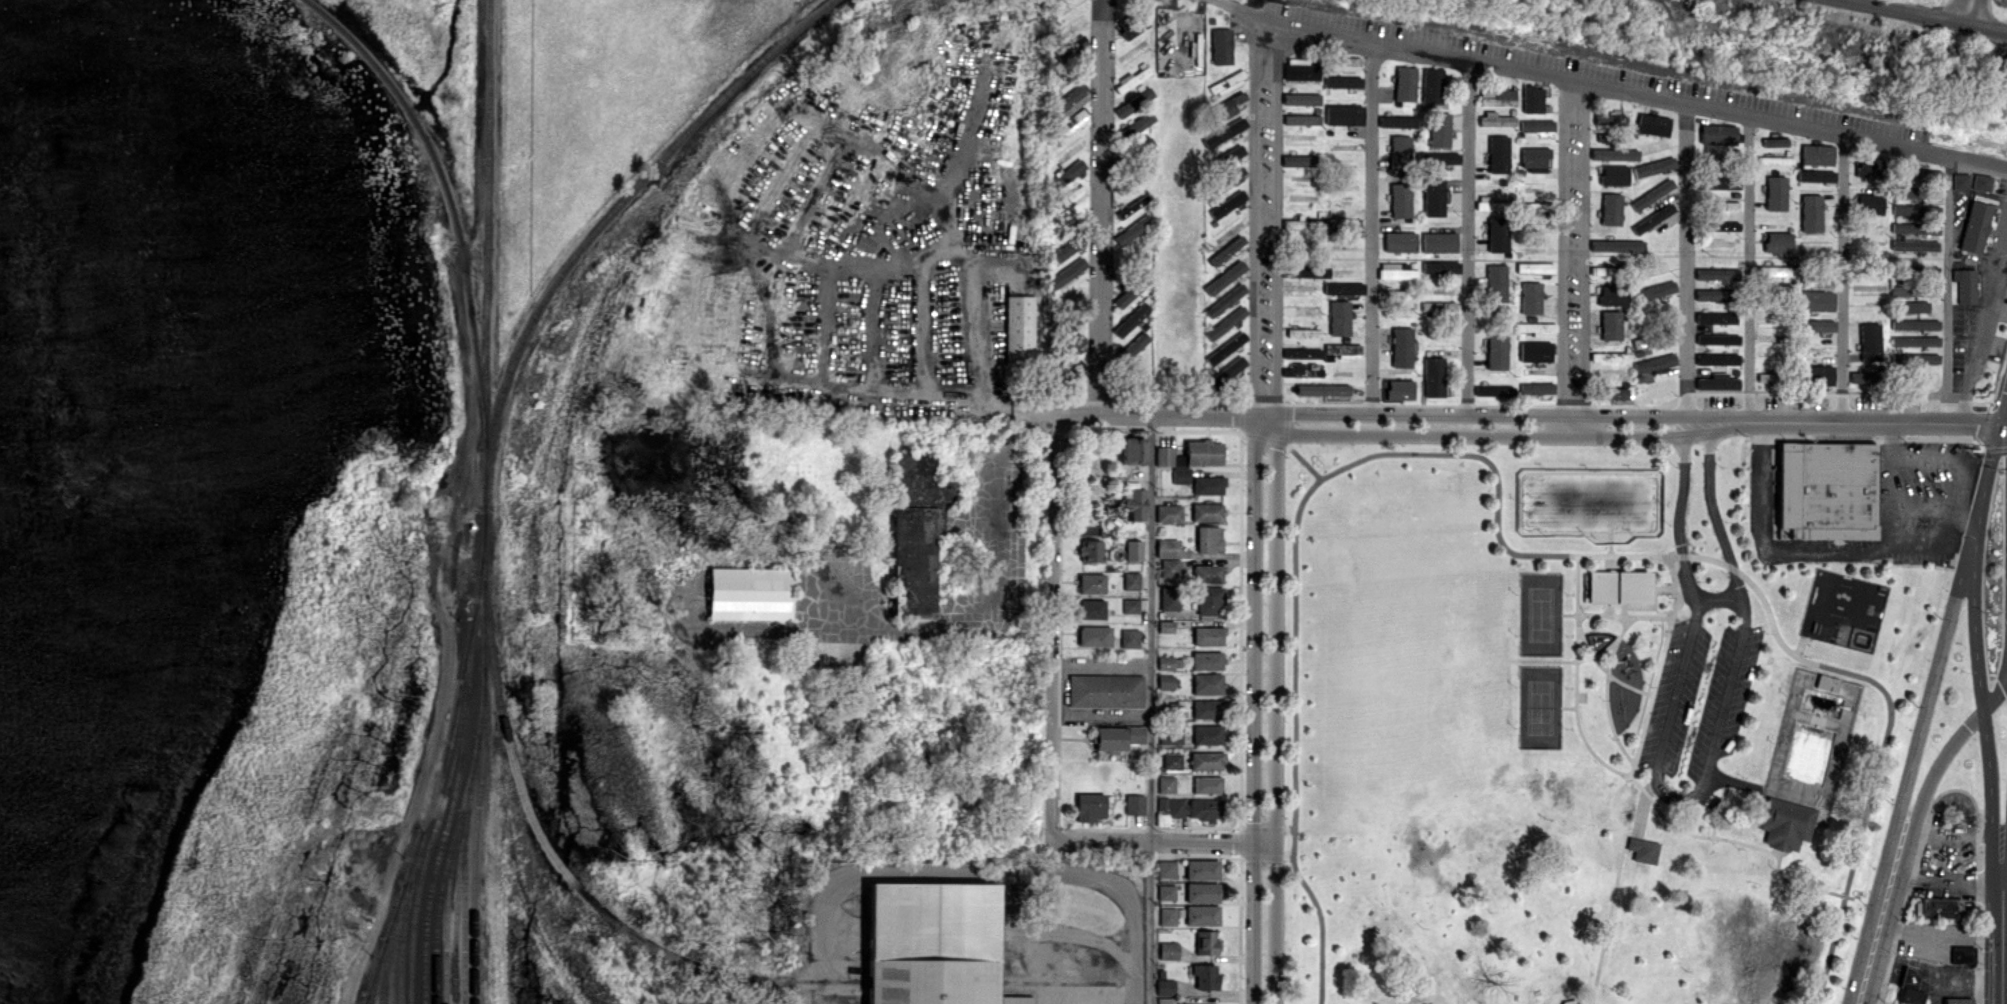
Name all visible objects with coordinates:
road: (1962, 9)
road: (1929, 13)
building: (1133, 27)
building: (1221, 46)
building: (1071, 47)
building: (1344, 63)
building: (1301, 72)
building: (1132, 78)
building: (1342, 82)
road: (1610, 82)
building: (1405, 83)
building: (1226, 84)
building: (1431, 85)
building: (1497, 97)
building: (1301, 98)
building: (1532, 99)
building: (1070, 101)
building: (1134, 102)
building: (1229, 105)
building: (1343, 114)
building: (1301, 119)
building: (1495, 119)
building: (1609, 119)
building: (1397, 121)
building: (1072, 122)
building: (1652, 124)
building: (1536, 125)
building: (1439, 129)
building: (1224, 132)
building: (1717, 134)
building: (1774, 141)
building: (1232, 153)
building: (1399, 153)
building: (1498, 154)
building: (1614, 154)
building: (1816, 154)
building: (1437, 158)
building: (1534, 158)
building: (1299, 160)
building: (1653, 166)
building: (1866, 168)
building: (1069, 172)
building: (1614, 175)
building: (1815, 175)
building: (1231, 178)
building: (1960, 181)
building: (1980, 182)
building: (1720, 183)
building: (1775, 193)
building: (1652, 194)
building: (1433, 197)
railway: (449, 199)
building: (1068, 199)
building: (1400, 200)
building: (1488, 203)
building: (1227, 204)
building: (1869, 204)
road: (1102, 207)
building: (1530, 207)
building: (1611, 209)
building: (1914, 210)
building: (1811, 212)
building: (1652, 218)
railway: (607, 220)
road: (1266, 220)
building: (1293, 224)
building: (1722, 225)
building: (1975, 227)
building: (1914, 228)
building: (1132, 230)
road: (1369, 232)
building: (1497, 234)
building: (1400, 241)
building: (1439, 241)
road: (1468, 241)
building: (863, 242)
building: (1778, 242)
building: (1617, 245)
building: (1914, 245)
building: (1068, 248)
building: (1226, 250)
road: (1571, 250)
railway: (487, 252)
road: (1686, 262)
road: (908, 264)
building: (1440, 266)
building: (1534, 267)
road: (1749, 268)
building: (1603, 270)
building: (1775, 270)
building: (1306, 271)
building: (1396, 271)
building: (1067, 272)
building: (1714, 273)
building: (1224, 278)
road: (1842, 278)
building: (1496, 282)
building: (1965, 285)
building: (1343, 288)
road: (1947, 289)
building: (1131, 290)
building: (1654, 290)
building: (1900, 290)
building: (1394, 294)
building: (1609, 294)
building: (1709, 294)
building: (1530, 298)
building: (1225, 300)
building: (1815, 300)
building: (1438, 306)
building: (1912, 306)
building: (1766, 316)
building: (1715, 317)
building: (1339, 318)
building: (1131, 319)
building: (1225, 322)
road: (1987, 323)
building: (1914, 324)
building: (1610, 325)
building: (1816, 325)
road: (923, 326)
building: (1536, 328)
building: (1019, 330)
building: (1303, 332)
building: (1717, 339)
building: (1869, 341)
building: (1914, 341)
building: (1073, 344)
building: (1133, 345)
building: (1401, 347)
building: (1225, 348)
building: (1340, 351)
building: (1496, 351)
building: (1535, 351)
building: (1301, 353)
building: (1610, 356)
building: (1717, 358)
building: (1914, 359)
building: (1654, 363)
building: (1226, 372)
building: (1817, 374)
building: (1433, 376)
building: (1861, 376)
building: (1717, 381)
building: (1536, 387)
building: (1322, 389)
building: (1400, 389)
building: (1494, 390)
building: (1614, 392)
road: (2003, 410)
traffic signals: (1999, 425)
road: (1530, 426)
building: (1133, 450)
building: (1203, 452)
building: (1164, 455)
building: (1181, 475)
building: (1208, 484)
road: (1982, 488)
building: (1827, 491)
road: (1958, 494)
building: (1135, 502)
road: (1923, 502)
building: (1611, 508)
building: (1207, 512)
building: (1168, 513)
building: (915, 532)
building: (1208, 539)
building: (1167, 547)
road: (1826, 548)
building: (1091, 550)
building: (1133, 550)
building: (1169, 568)
building: (1208, 573)
road: (1748, 577)
building: (1131, 580)
building: (1091, 583)
building: (1616, 585)
building: (749, 593)
building: (1169, 598)
road: (1716, 598)
building: (1209, 600)
building: (1130, 605)
building: (1091, 608)
park: (1844, 609)
park: (1541, 613)
parking lot: (1692, 624)
building: (1165, 626)
road: (1054, 627)
building: (1208, 635)
building: (1094, 636)
building: (1129, 637)
railway: (469, 644)
building: (1206, 660)
building: (1165, 662)
road: (1102, 665)
building: (1165, 681)
building: (1826, 682)
building: (1207, 683)
building: (1105, 690)
park: (1540, 706)
road: (1151, 709)
building: (1167, 709)
building: (1206, 709)
road: (1254, 711)
road: (1276, 712)
road: (1102, 713)
road: (1985, 715)
road: (1295, 717)
park: (1581, 730)
building: (1135, 734)
building: (1207, 734)
building: (1170, 735)
water park: (1813, 737)
building: (1110, 739)
railway: (483, 754)
building: (1172, 759)
building: (1206, 760)
railway: (443, 762)
road: (1911, 767)
building: (1166, 784)
building: (1207, 785)
road: (1683, 797)
building: (1134, 804)
building: (1172, 806)
building: (1090, 807)
building: (1204, 809)
road: (1915, 820)
building: (1785, 822)
railway: (464, 835)
road: (1164, 840)
railway: (428, 841)
railway: (440, 842)
building: (1643, 850)
building: (1166, 868)
railway: (450, 869)
building: (1202, 869)
road: (977, 871)
road: (1953, 877)
building: (1166, 892)
building: (1201, 892)
railway: (464, 907)
building: (1940, 907)
railway: (438, 908)
building: (1201, 915)
building: (1167, 916)
railway: (404, 917)
road: (2006, 940)
railway: (390, 942)
railway: (396, 942)
building: (1206, 943)
building: (932, 944)
building: (1168, 950)
building: (1963, 953)
railway: (675, 958)
railway: (374, 971)
road: (2006, 971)
building: (1205, 976)
building: (1165, 986)
building: (1909, 986)
road: (1860, 994)
road: (2006, 995)
railway: (365, 999)
railway: (370, 999)
building: (1165, 1000)
building: (1959, 1000)
building: (1570, 1001)
road: (1862, 1003)

